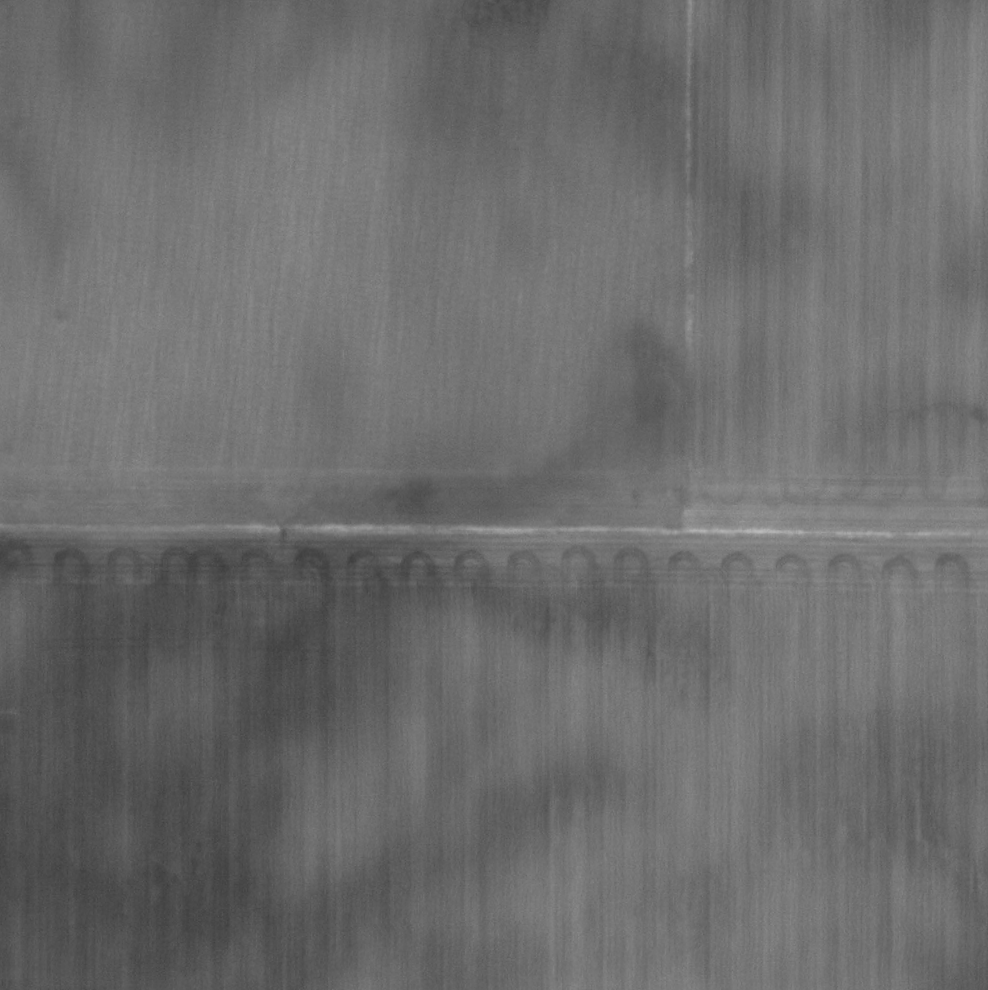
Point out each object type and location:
crop: (494, 495)

